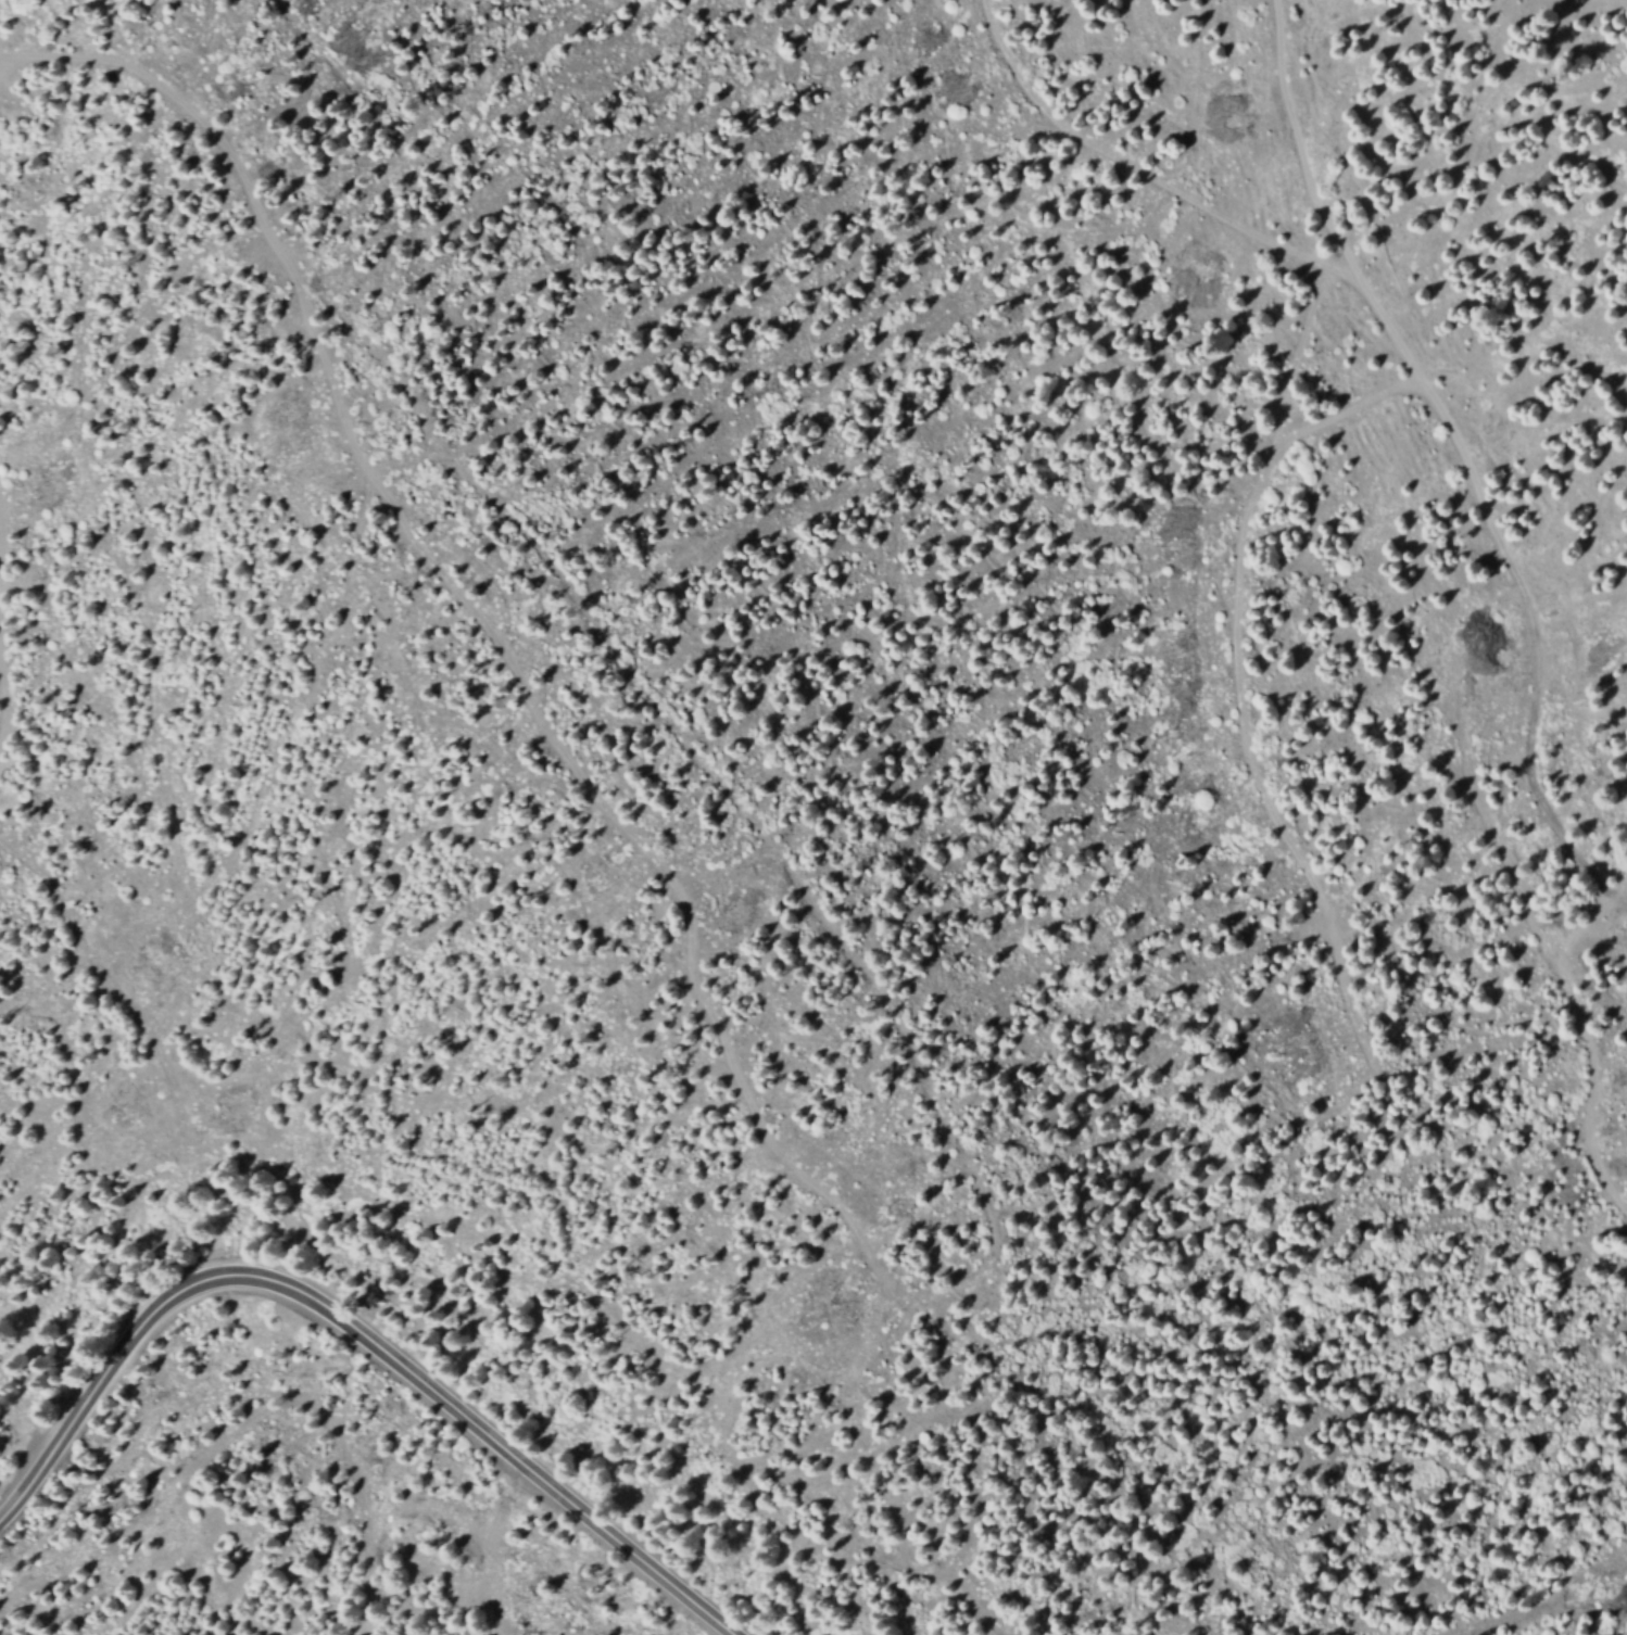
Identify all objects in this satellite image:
road: (189, 109)
road: (1148, 176)
road: (1462, 454)
road: (1236, 684)
road: (2, 694)
road: (962, 1293)
road: (356, 1329)

